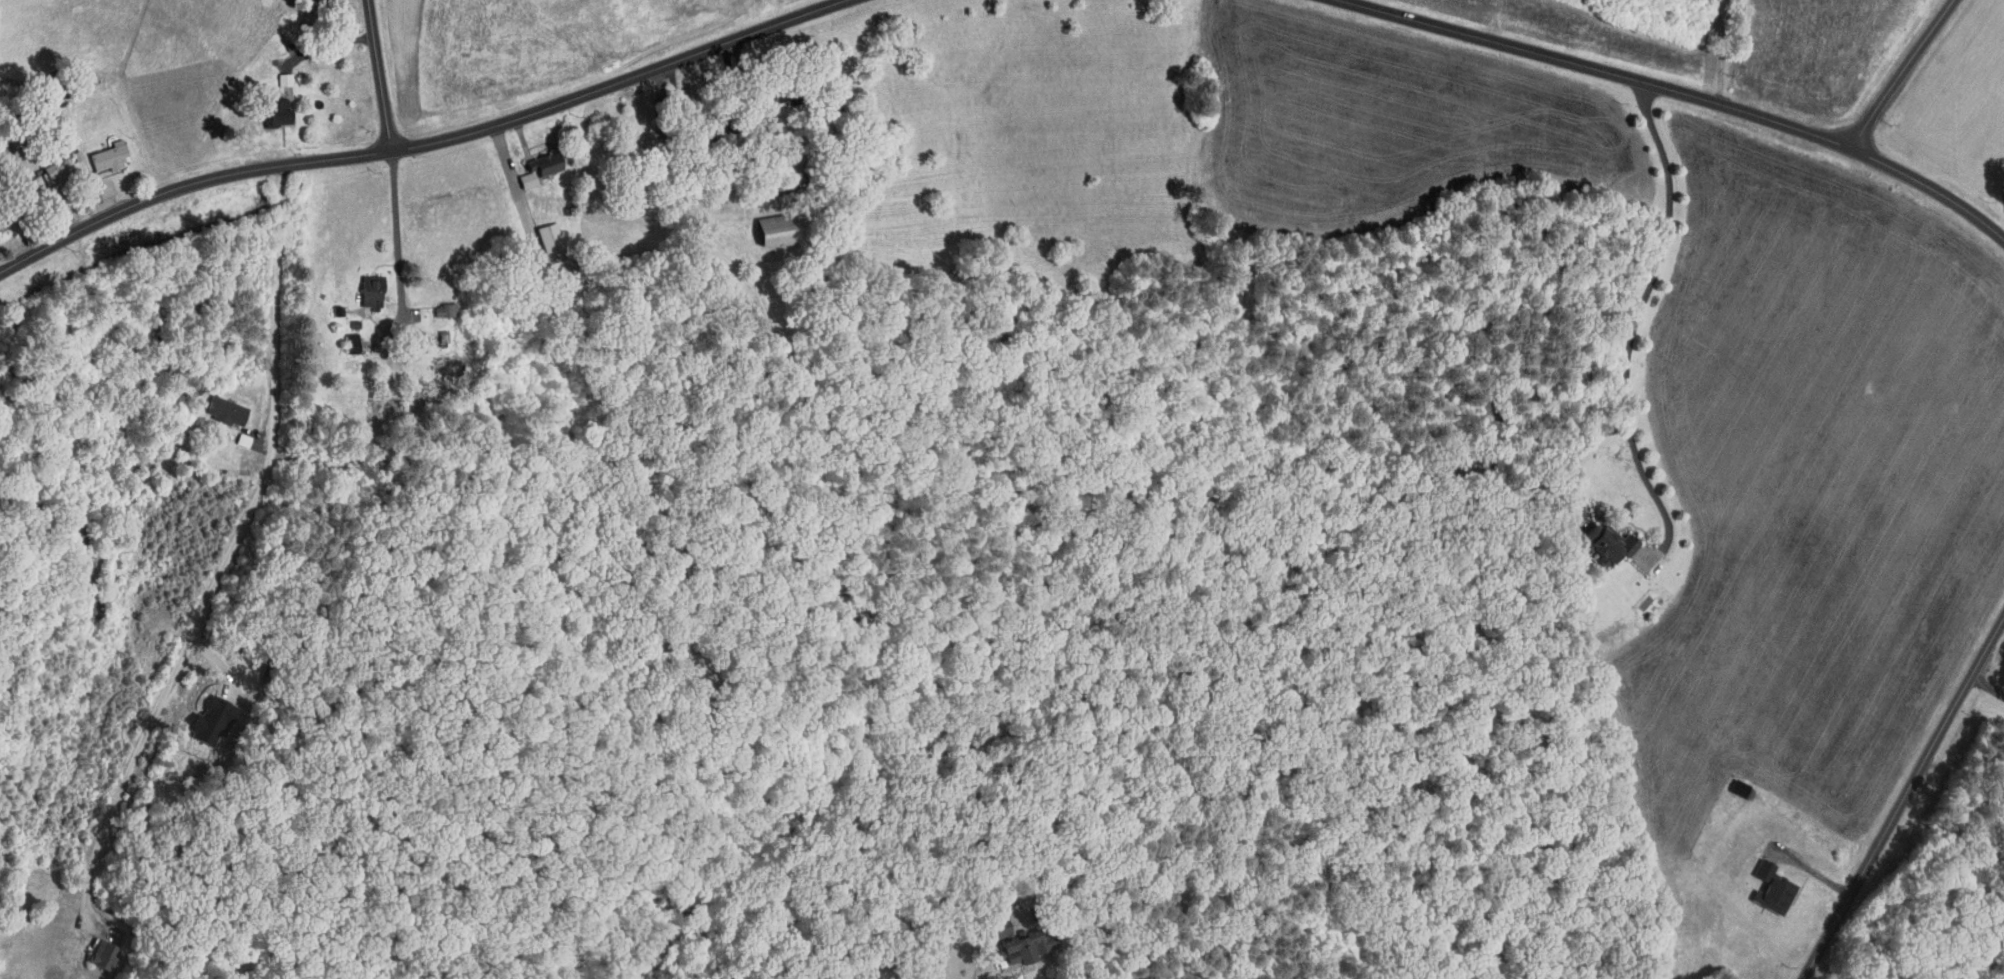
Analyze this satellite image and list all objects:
road: (1466, 15)
road: (327, 45)
road: (380, 73)
road: (1908, 73)
building: (274, 74)
road: (1685, 90)
road: (755, 110)
building: (631, 121)
road: (422, 139)
building: (98, 152)
building: (528, 163)
building: (46, 164)
road: (512, 178)
building: (763, 224)
road: (397, 231)
building: (538, 232)
building: (360, 286)
road: (1643, 302)
building: (434, 304)
building: (340, 337)
building: (438, 361)
building: (214, 405)
road: (1655, 495)
building: (1599, 538)
road: (233, 550)
road: (1987, 686)
building: (200, 715)
road: (1902, 798)
building: (1762, 883)
road: (1086, 923)
building: (1010, 936)
building: (91, 949)

